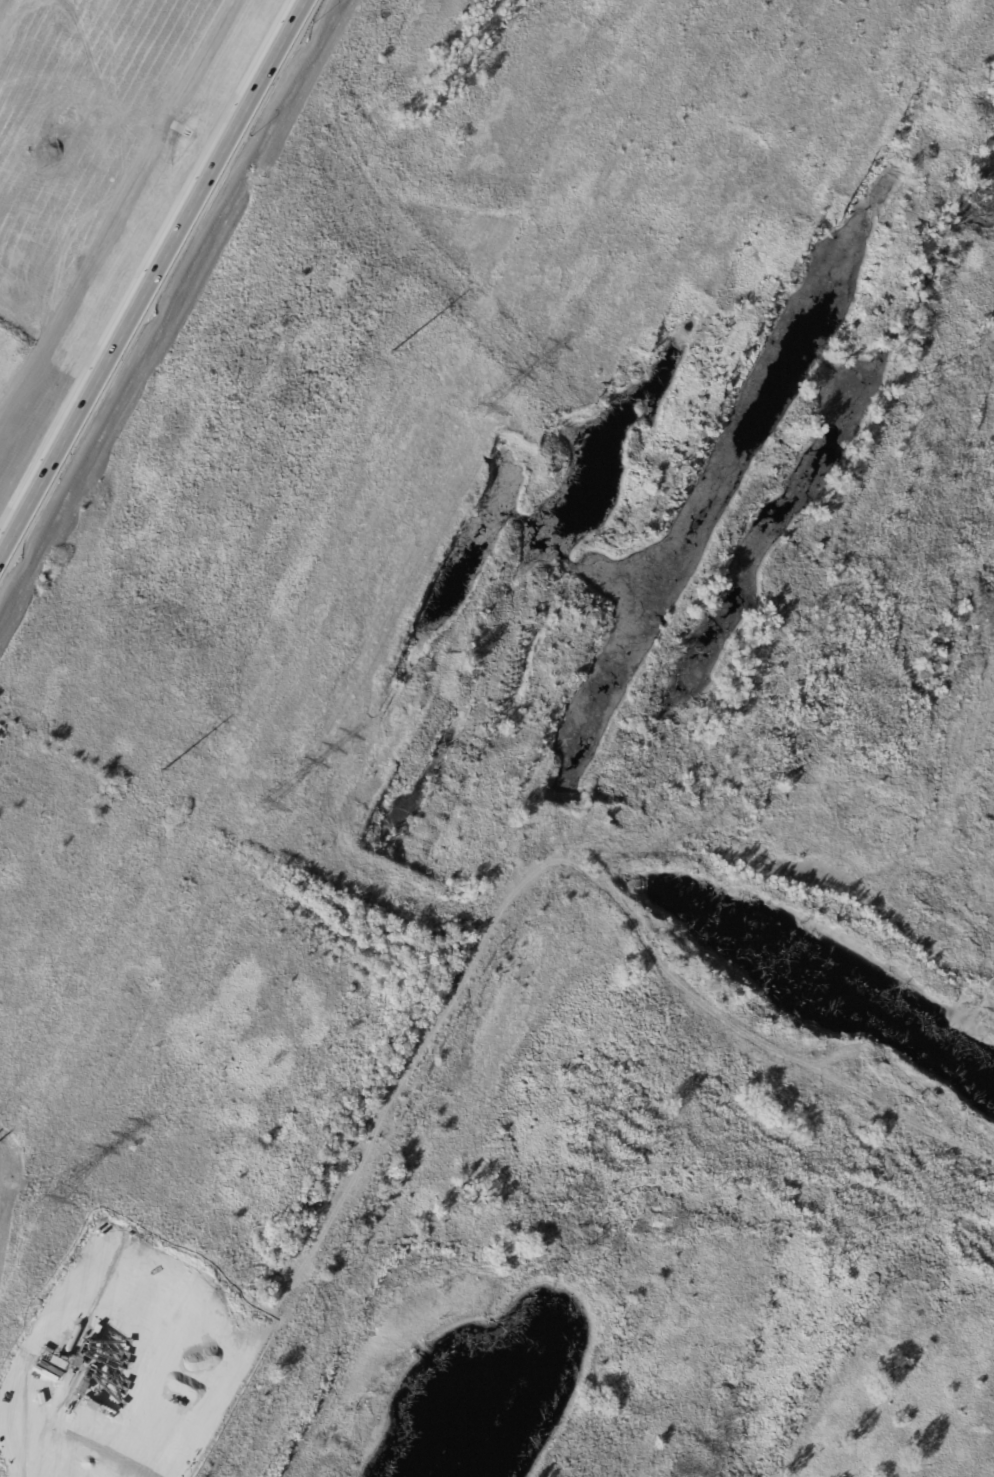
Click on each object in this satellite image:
road: (282, 48)
road: (285, 48)
road: (128, 332)
power tower: (391, 350)
power tower: (472, 414)
power tower: (161, 771)
power tower: (259, 806)
power tower: (44, 1202)

